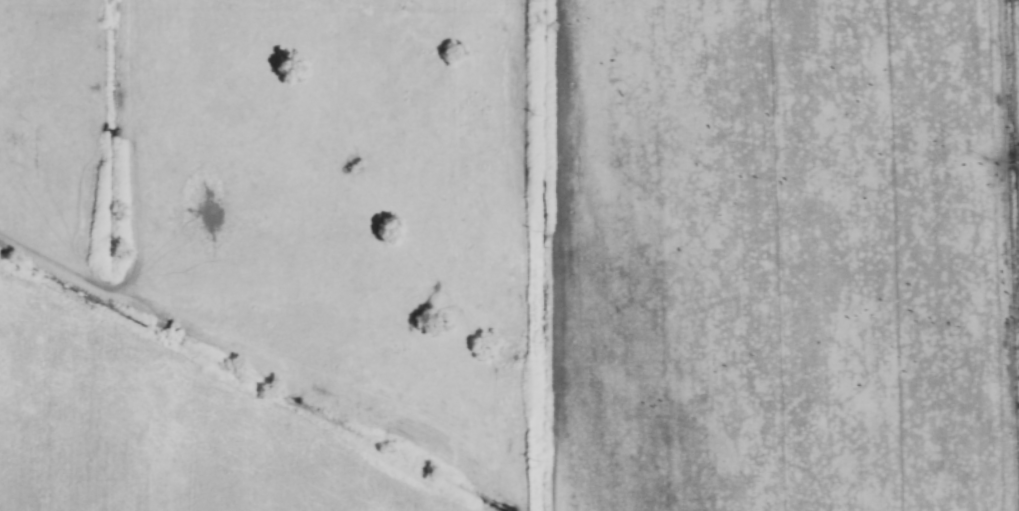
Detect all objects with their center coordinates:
crop: (509, 255)
road: (56, 263)

